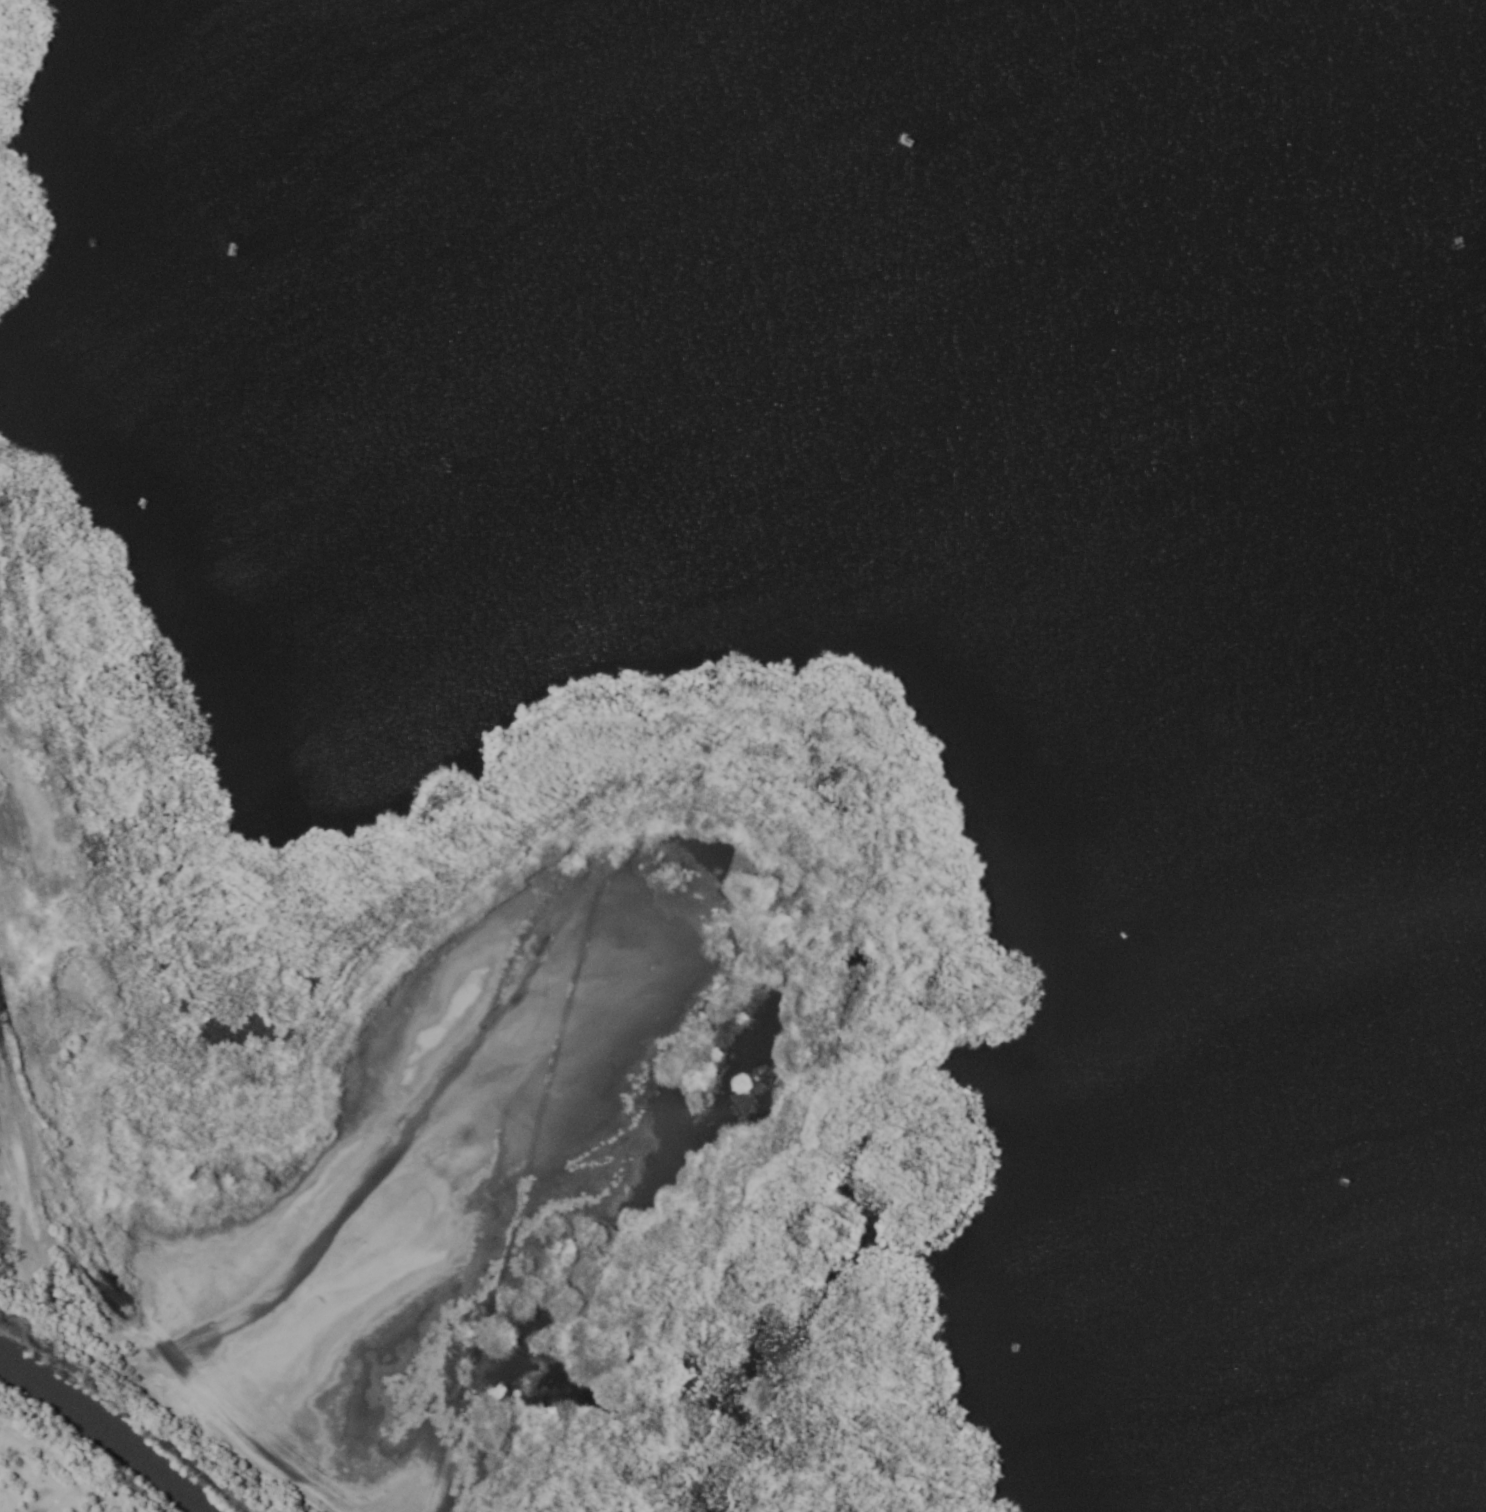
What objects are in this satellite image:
river: (117, 1416)

